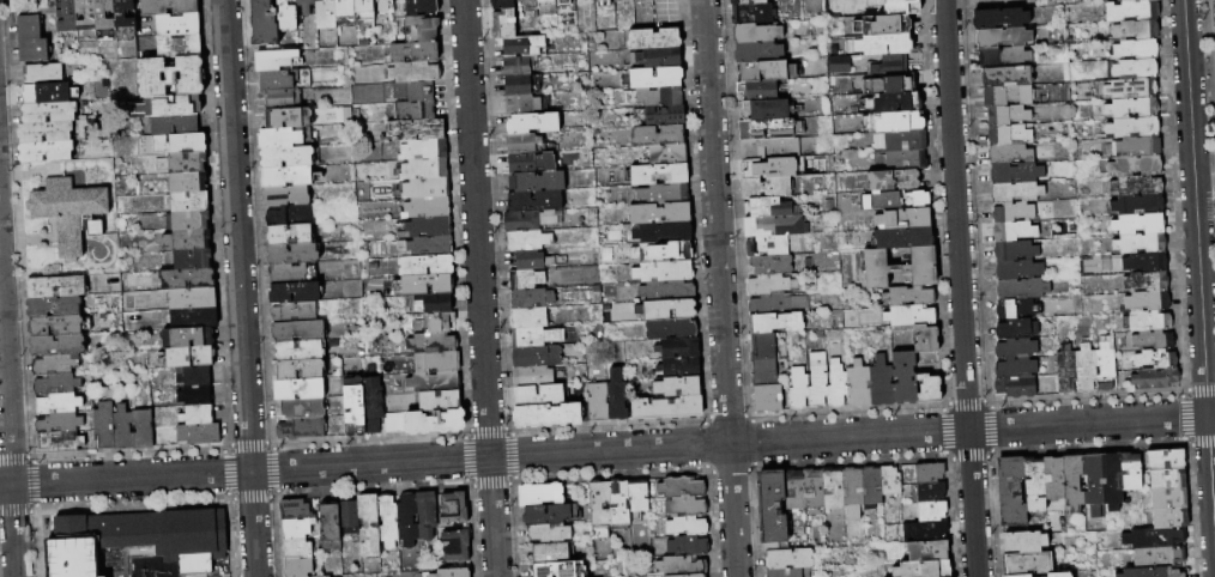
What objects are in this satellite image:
building: (544, 0)
building: (623, 0)
building: (1131, 0)
building: (527, 1)
building: (566, 1)
building: (605, 2)
building: (647, 2)
building: (748, 2)
building: (503, 5)
building: (35, 6)
building: (307, 6)
building: (170, 7)
building: (382, 7)
road: (691, 7)
building: (903, 7)
building: (422, 8)
building: (365, 11)
building: (1131, 11)
building: (346, 13)
parking lot: (667, 13)
building: (289, 14)
building: (327, 14)
building: (752, 14)
building: (68, 17)
building: (999, 18)
building: (97, 20)
building: (125, 20)
building: (266, 23)
building: (506, 24)
building: (179, 25)
building: (884, 25)
building: (30, 28)
building: (422, 30)
building: (1136, 30)
building: (757, 34)
building: (1002, 37)
building: (655, 40)
building: (885, 44)
building: (180, 45)
building: (524, 45)
building: (1136, 49)
building: (35, 50)
building: (757, 51)
building: (415, 53)
building: (1003, 56)
building: (660, 57)
building: (276, 60)
building: (518, 65)
building: (893, 65)
building: (1135, 69)
building: (768, 71)
building: (416, 72)
building: (44, 74)
building: (1005, 75)
building: (173, 77)
building: (658, 78)
building: (277, 80)
building: (902, 83)
building: (520, 85)
building: (1130, 89)
building: (760, 90)
building: (369, 91)
building: (416, 91)
building: (52, 93)
building: (1003, 96)
building: (661, 97)
building: (283, 98)
building: (894, 103)
building: (171, 105)
building: (520, 105)
building: (1131, 108)
building: (417, 110)
building: (766, 110)
building: (49, 113)
building: (1007, 115)
building: (666, 116)
building: (289, 119)
building: (897, 122)
building: (534, 123)
building: (175, 126)
building: (1132, 127)
building: (418, 129)
building: (770, 129)
building: (44, 132)
building: (1008, 134)
building: (660, 135)
building: (285, 138)
building: (902, 141)
building: (181, 144)
building: (526, 144)
building: (1137, 146)
building: (772, 148)
building: (424, 150)
building: (46, 152)
building: (1009, 153)
building: (669, 154)
building: (288, 157)
building: (907, 160)
building: (188, 163)
building: (531, 163)
building: (1135, 166)
building: (425, 169)
building: (763, 169)
building: (1015, 172)
road: (30, 175)
building: (660, 175)
building: (289, 177)
road: (1204, 178)
building: (894, 181)
building: (189, 182)
building: (538, 182)
building: (1136, 186)
building: (427, 188)
building: (767, 188)
building: (1015, 192)
building: (665, 194)
building: (286, 196)
building: (900, 200)
building: (191, 201)
building: (534, 201)
building: (1137, 205)
building: (429, 207)
road: (1195, 207)
building: (769, 208)
building: (1012, 212)
building: (72, 213)
building: (661, 214)
road: (955, 214)
building: (290, 215)
building: (905, 219)
building: (192, 220)
building: (530, 220)
building: (1138, 224)
building: (776, 226)
building: (428, 227)
building: (1012, 231)
building: (664, 232)
building: (290, 233)
road: (105, 236)
building: (905, 238)
road: (22, 241)
building: (188, 241)
building: (528, 241)
building: (1140, 243)
road: (113, 244)
building: (768, 245)
building: (430, 247)
building: (1014, 250)
building: (675, 253)
building: (294, 254)
building: (193, 260)
building: (533, 260)
building: (1144, 262)
road: (83, 263)
building: (772, 265)
flagpole: (42, 266)
building: (428, 266)
building: (902, 267)
building: (1017, 269)
road: (41, 271)
building: (665, 272)
building: (292, 273)
building: (188, 279)
building: (526, 279)
building: (1146, 281)
building: (425, 285)
building: (772, 285)
building: (58, 286)
road: (720, 287)
road: (240, 288)
road: (480, 288)
building: (1021, 288)
building: (667, 291)
building: (296, 292)
building: (909, 296)
building: (194, 298)
building: (532, 299)
building: (1147, 300)
building: (778, 303)
building: (435, 304)
building: (54, 306)
building: (1016, 309)
building: (669, 310)
building: (296, 312)
building: (911, 316)
building: (194, 318)
building: (530, 318)
building: (1149, 321)
building: (439, 322)
building: (776, 323)
building: (59, 326)
building: (1011, 328)
building: (672, 329)
building: (300, 332)
building: (536, 336)
building: (191, 338)
building: (927, 339)
building: (1153, 340)
building: (434, 344)
building: (59, 345)
building: (764, 347)
building: (681, 348)
building: (1016, 348)
building: (300, 350)
building: (192, 357)
building: (538, 357)
building: (1155, 359)
building: (443, 360)
building: (56, 364)
building: (681, 368)
building: (1015, 368)
building: (1104, 368)
building: (1084, 369)
building: (300, 370)
building: (1065, 370)
building: (766, 372)
building: (195, 377)
building: (533, 377)
building: (906, 378)
building: (1155, 378)
building: (436, 382)
building: (882, 383)
building: (58, 384)
building: (839, 384)
building: (859, 384)
building: (1016, 387)
building: (679, 388)
building: (820, 388)
building: (300, 389)
building: (799, 389)
building: (930, 389)
building: (197, 395)
building: (534, 396)
building: (769, 399)
building: (441, 401)
building: (616, 402)
building: (598, 403)
building: (59, 405)
building: (374, 405)
building: (356, 407)
building: (301, 408)
building: (667, 408)
building: (199, 415)
building: (549, 415)
building: (60, 423)
building: (395, 423)
building: (436, 423)
road: (1088, 423)
building: (105, 426)
building: (125, 429)
building: (303, 429)
building: (145, 430)
road: (7, 435)
building: (199, 435)
building: (61, 442)
road: (484, 457)
building: (1166, 460)
building: (1131, 472)
building: (930, 473)
building: (1054, 478)
road: (1211, 478)
building: (1169, 479)
building: (891, 481)
building: (1112, 481)
building: (1074, 484)
building: (1094, 484)
building: (1035, 486)
building: (684, 487)
building: (815, 488)
building: (834, 488)
building: (871, 488)
building: (796, 490)
building: (932, 492)
building: (1011, 492)
building: (853, 493)
building: (542, 496)
building: (640, 496)
building: (1169, 498)
building: (619, 503)
road: (972, 503)
building: (688, 506)
building: (773, 506)
building: (455, 508)
building: (600, 509)
building: (296, 510)
building: (932, 511)
building: (428, 514)
building: (550, 515)
building: (350, 517)
building: (1172, 518)
building: (389, 520)
building: (409, 520)
building: (370, 526)
building: (332, 527)
building: (688, 527)
building: (296, 529)
building: (933, 530)
building: (550, 534)
building: (1155, 539)
building: (138, 540)
building: (1026, 542)
building: (457, 546)
building: (689, 546)
building: (297, 549)
building: (927, 551)
building: (551, 553)
building: (1160, 558)
building: (790, 559)
building: (682, 565)
building: (1029, 565)
building: (298, 567)
building: (924, 569)
building: (560, 570)
building: (786, 572)
building: (1153, 572)
building: (451, 573)
building: (1046, 575)
building: (688, 576)

